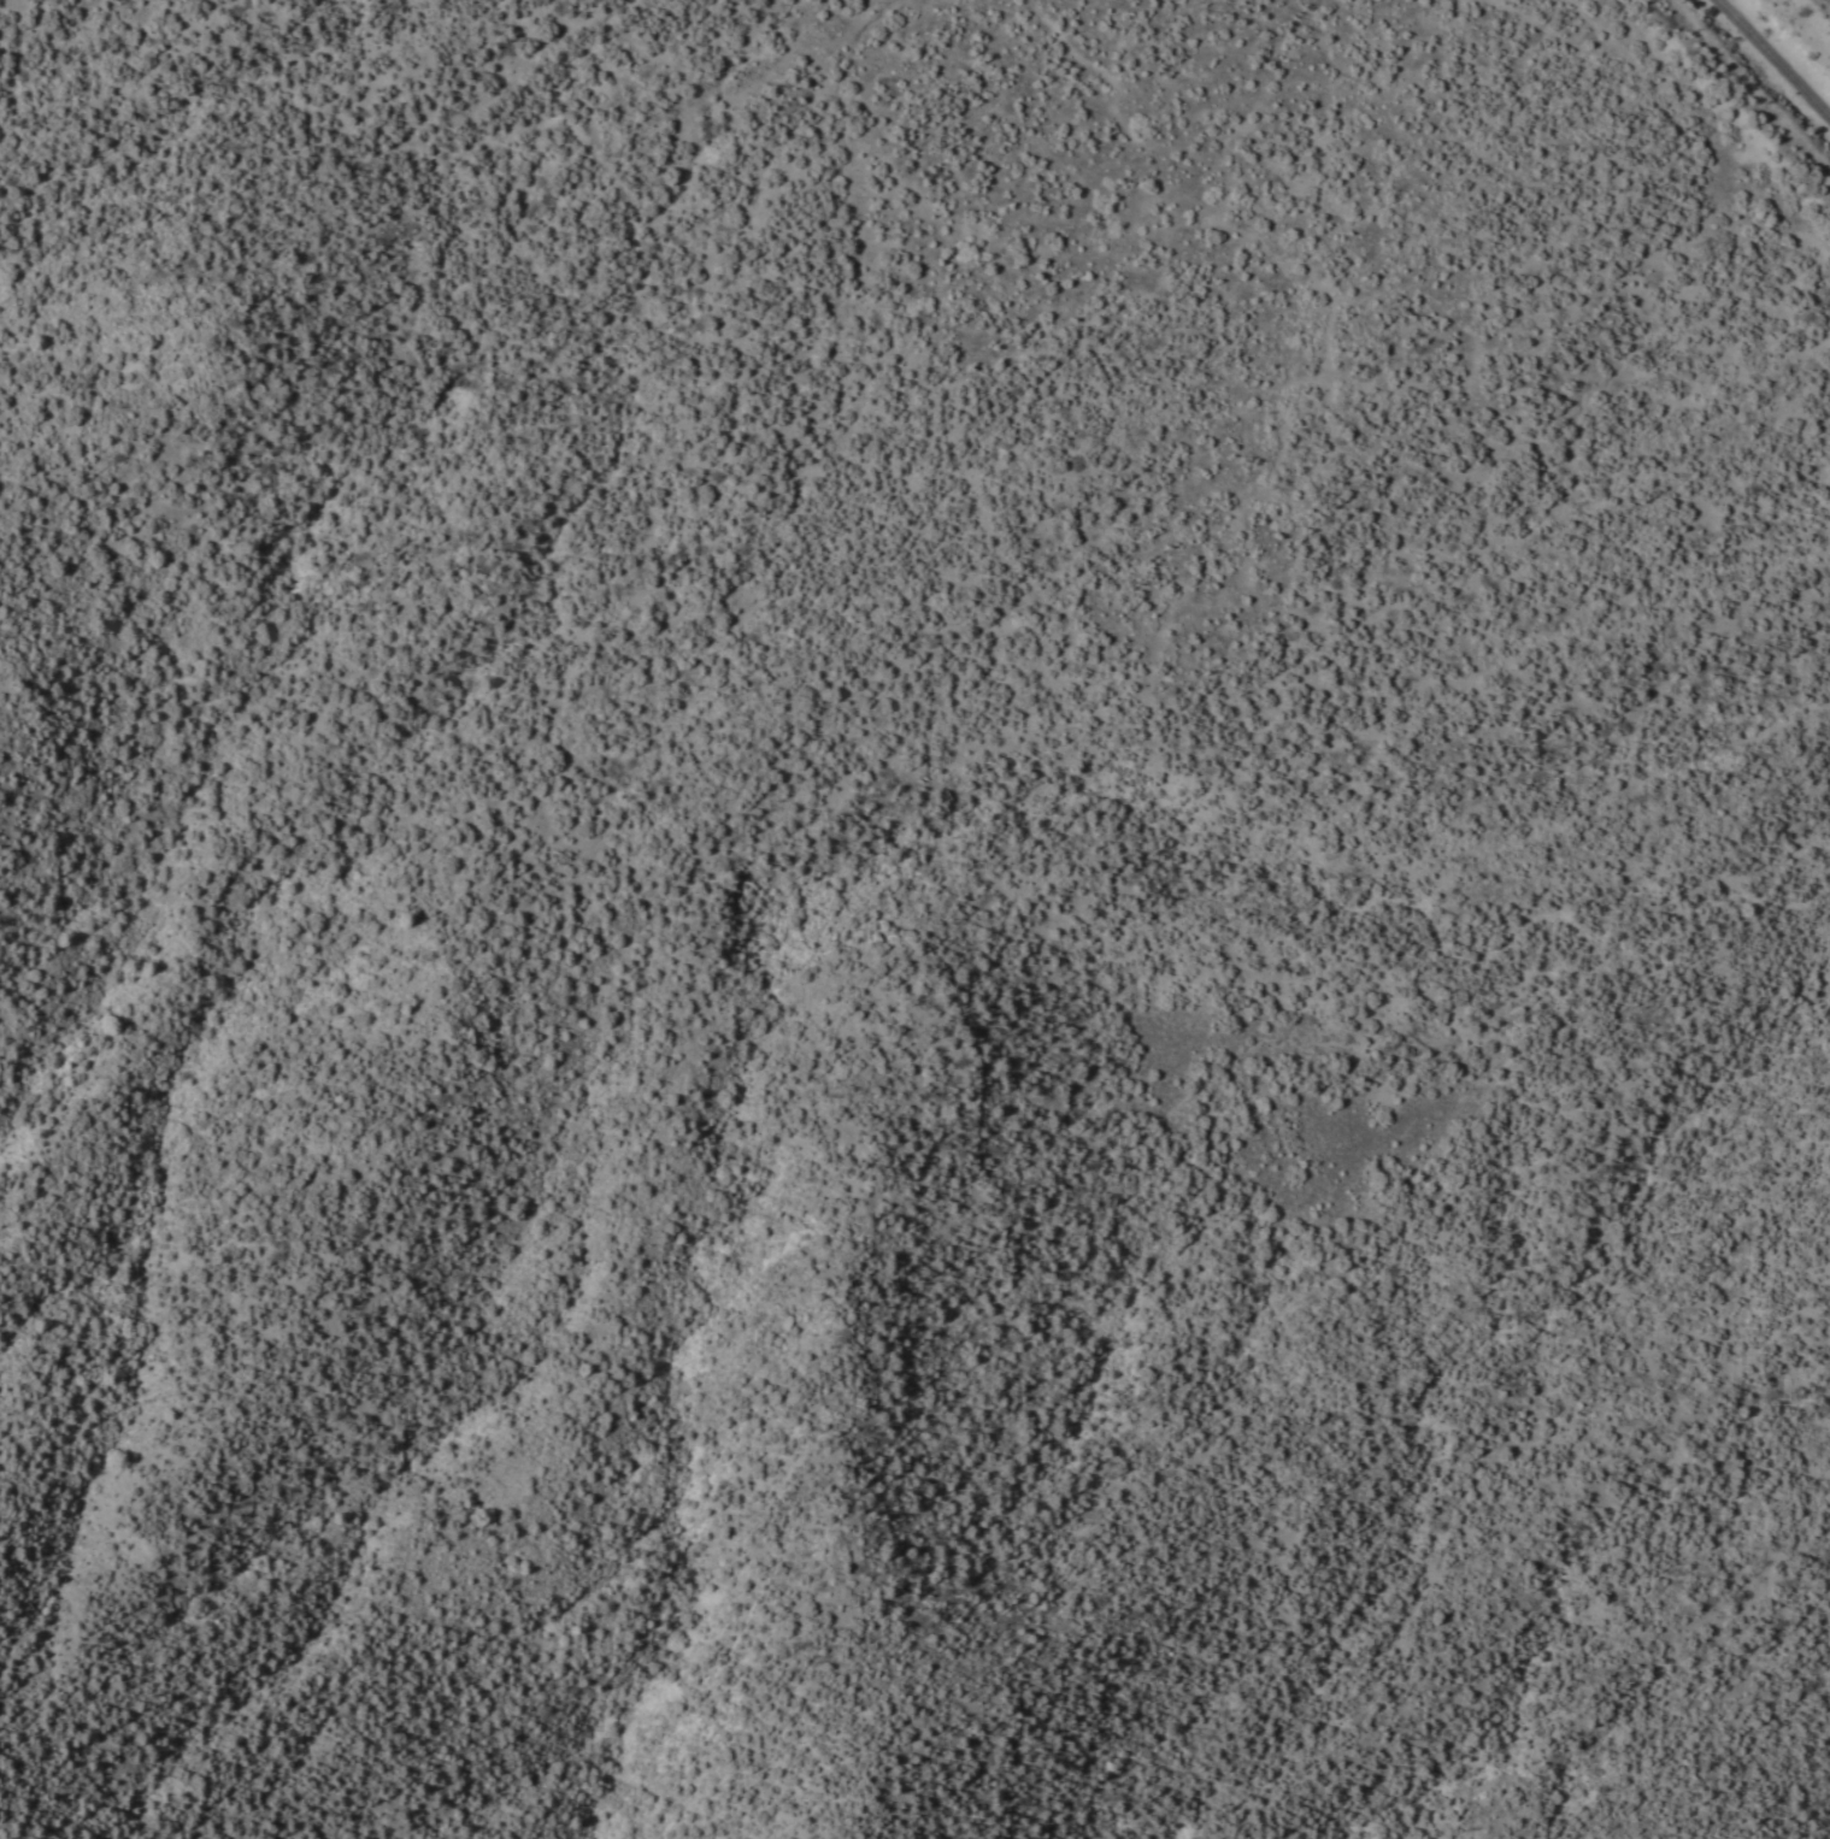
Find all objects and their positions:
railway: (1775, 58)

